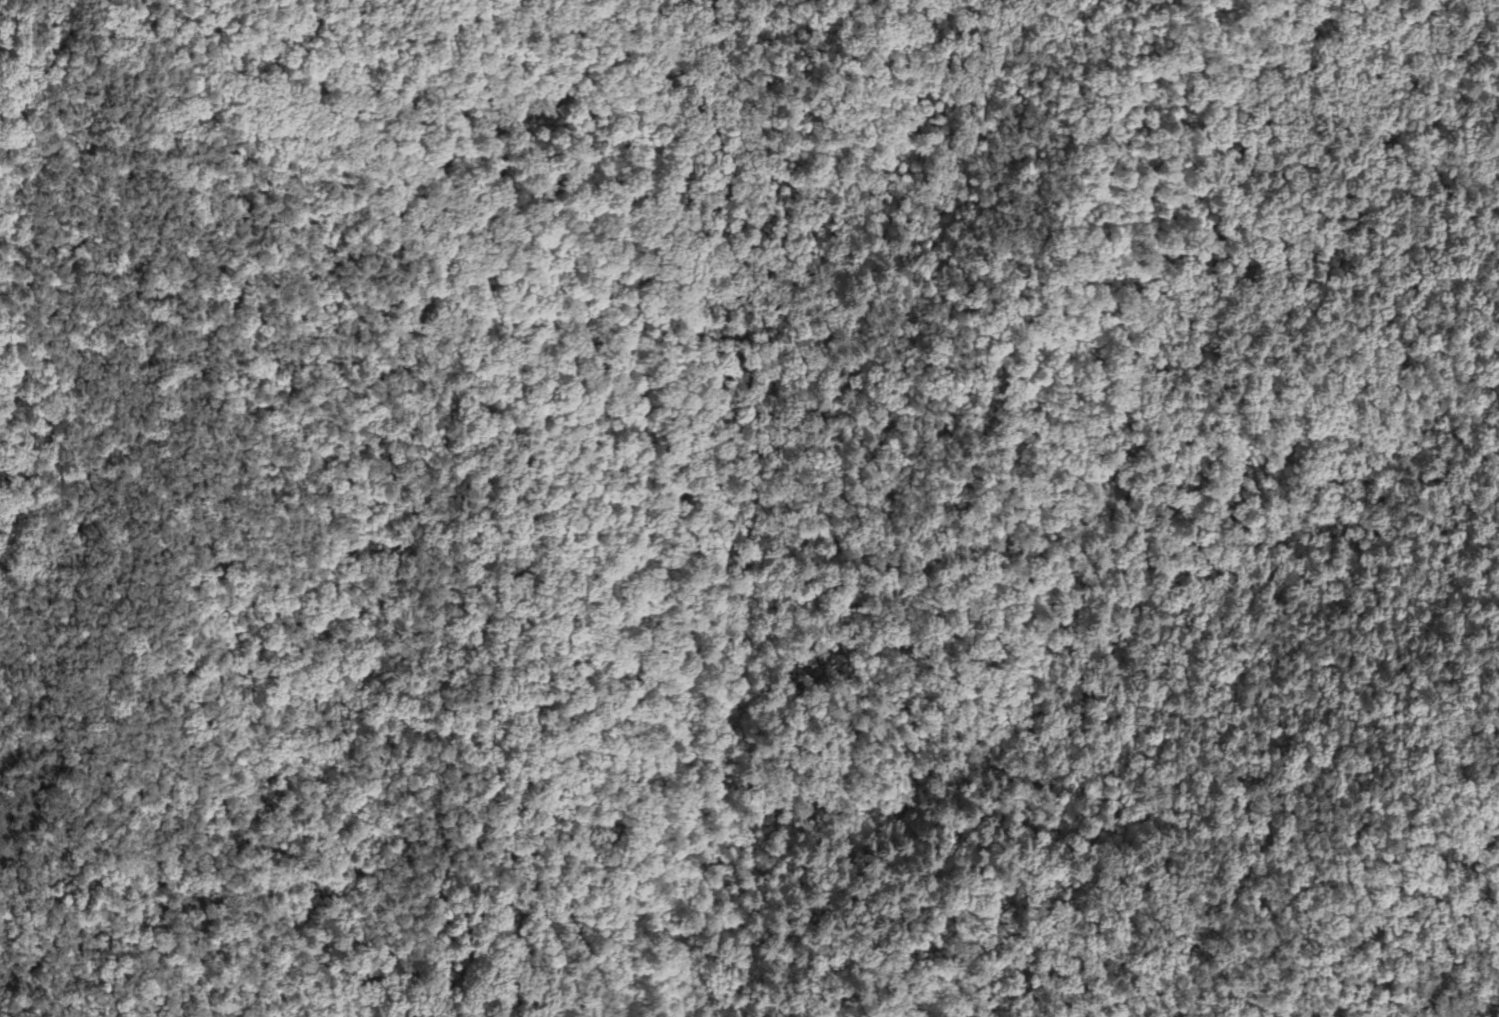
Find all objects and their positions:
road: (604, 282)

